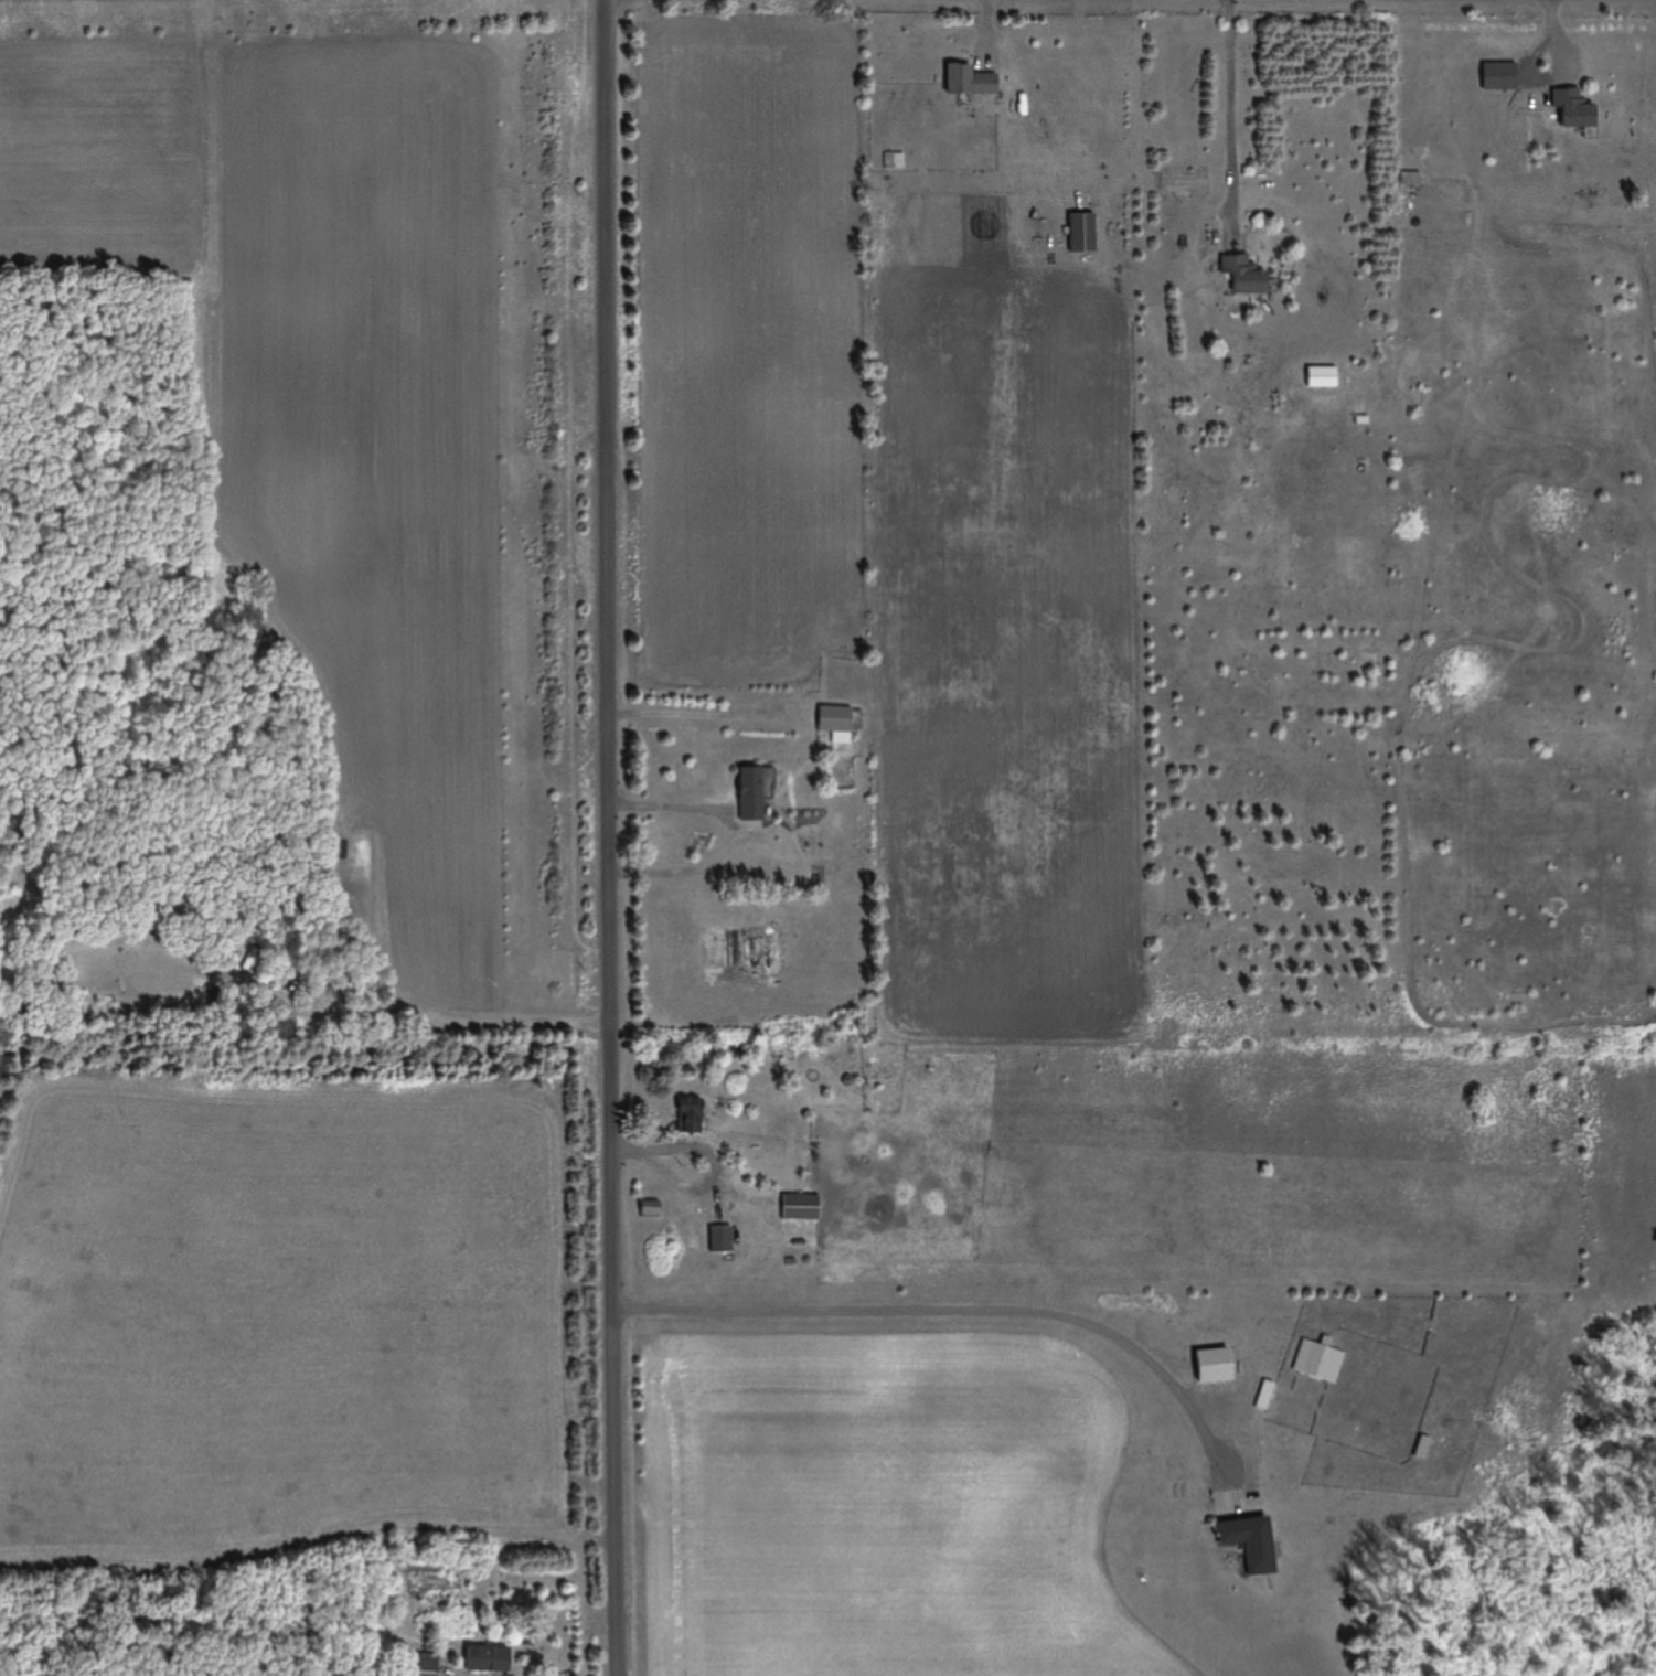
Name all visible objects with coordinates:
building: (970, 83)
road: (1232, 104)
building: (1574, 109)
building: (1411, 179)
building: (1083, 233)
building: (1244, 276)
building: (1322, 377)
building: (840, 724)
building: (750, 794)
road: (612, 837)
road: (353, 892)
building: (215, 997)
building: (690, 1118)
building: (800, 1208)
building: (650, 1210)
road: (496, 1284)
road: (960, 1306)
building: (1320, 1362)
building: (1214, 1365)
building: (1422, 1448)
building: (1250, 1542)
building: (485, 1658)
building: (424, 1664)

